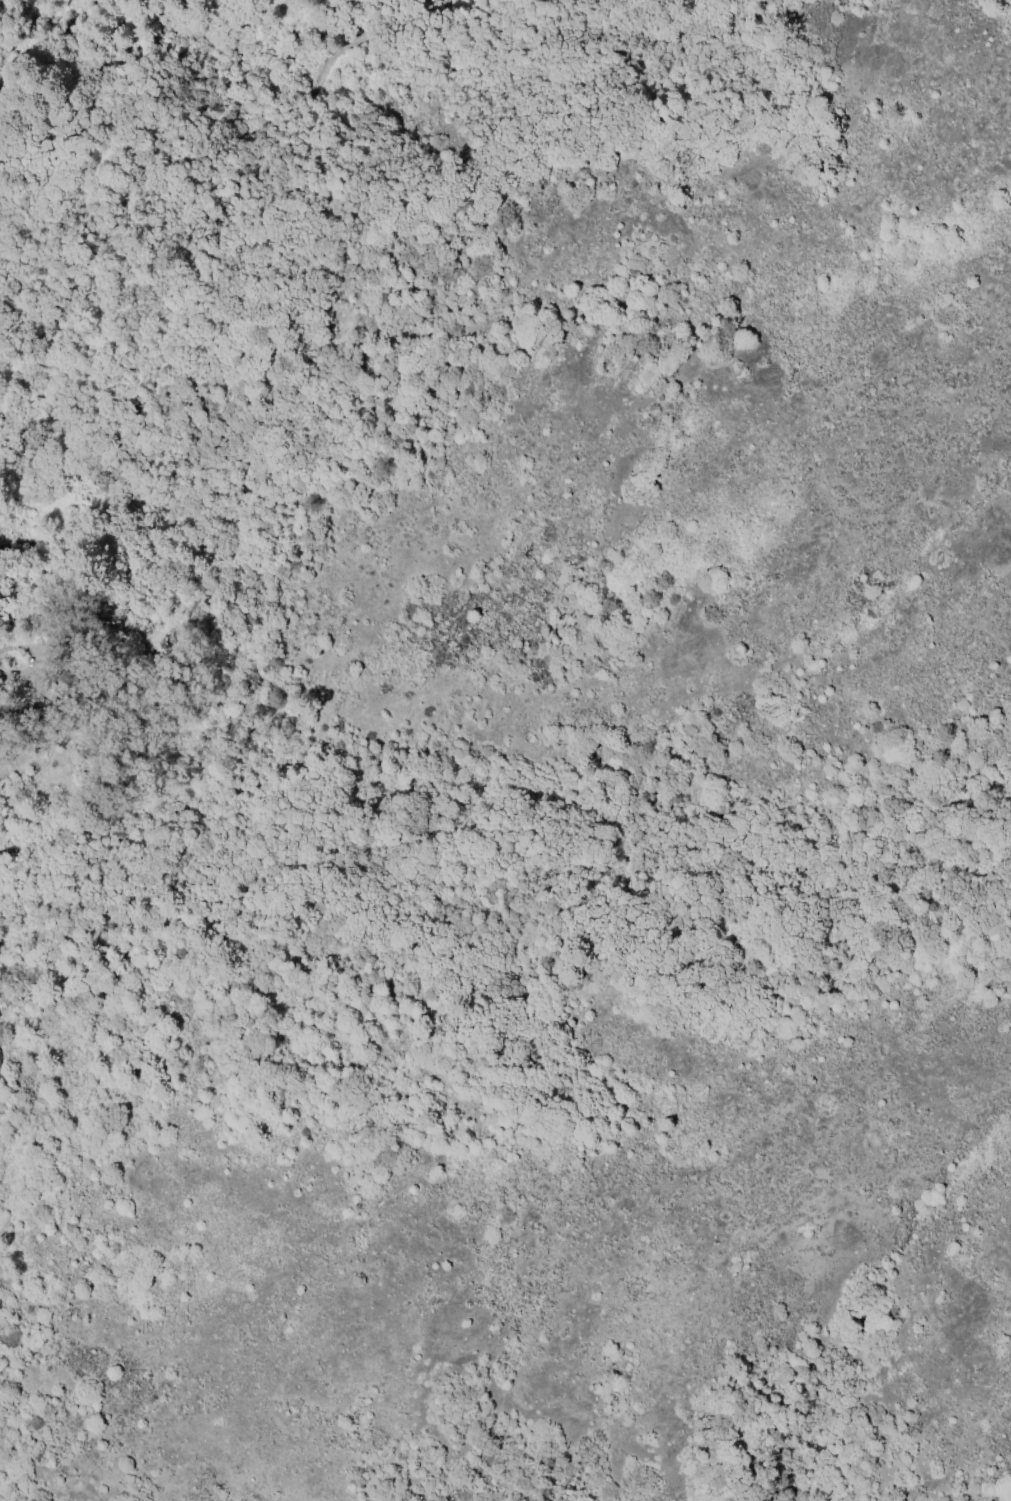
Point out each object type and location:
road: (43, 9)
road: (17, 33)
road: (178, 227)
road: (100, 642)

